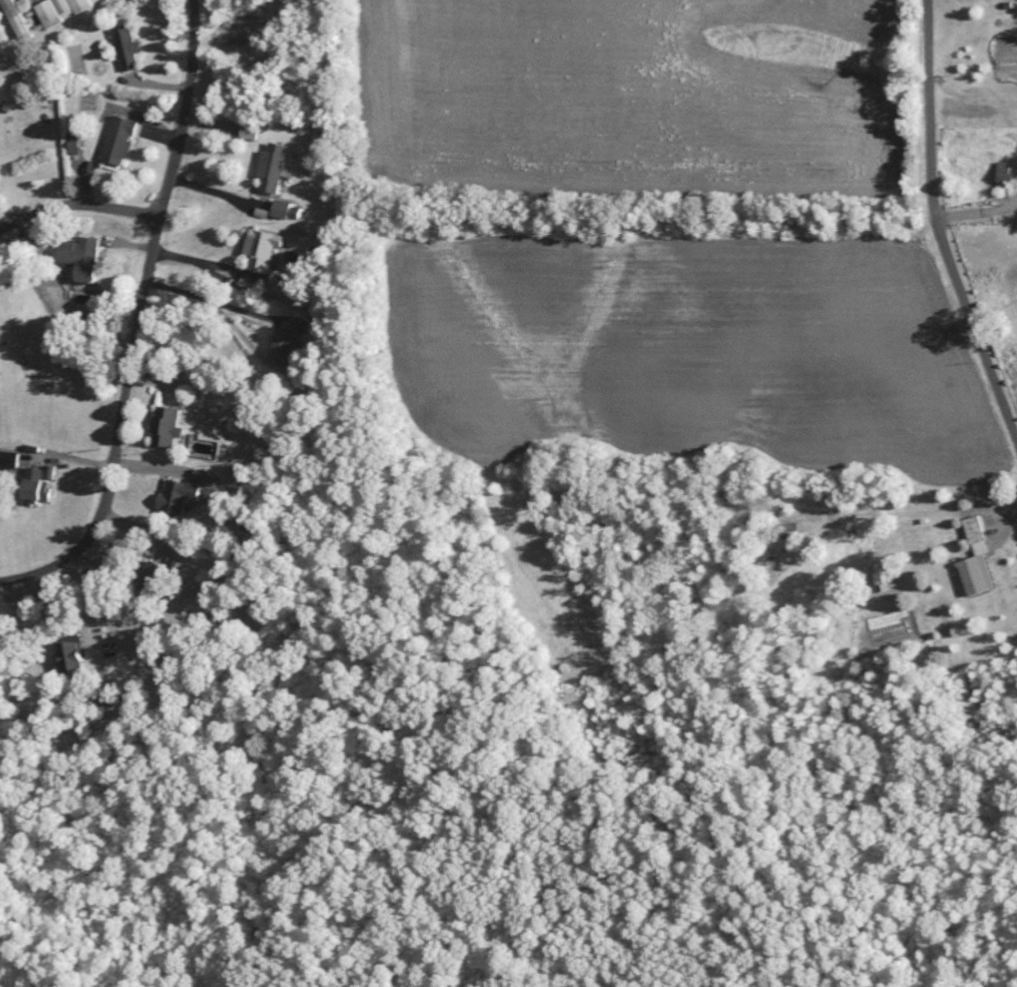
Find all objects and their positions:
building: (41, 14)
building: (129, 48)
building: (251, 133)
building: (123, 141)
building: (274, 168)
building: (1000, 174)
road: (79, 204)
building: (283, 210)
road: (939, 224)
building: (265, 250)
building: (85, 258)
road: (139, 320)
building: (286, 348)
building: (172, 428)
building: (40, 487)
building: (182, 497)
building: (974, 537)
building: (969, 577)
building: (71, 654)

